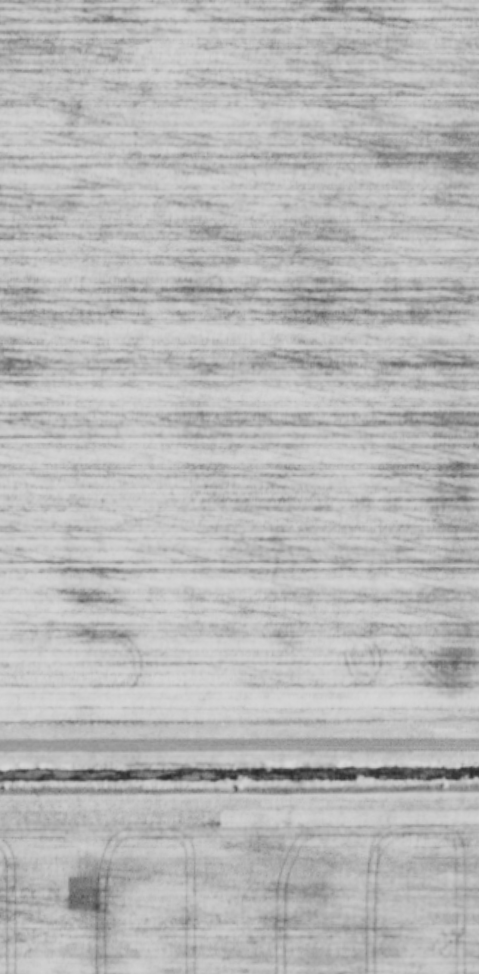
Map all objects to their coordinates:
road: (239, 740)

